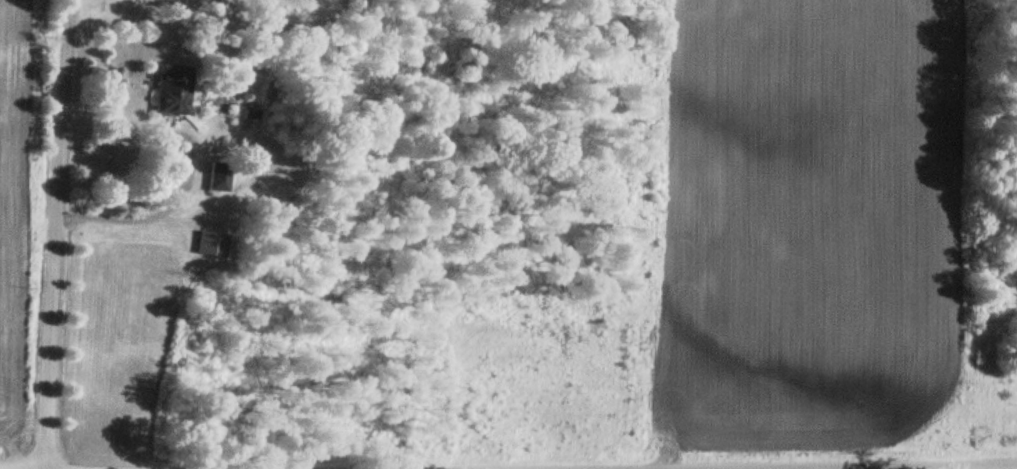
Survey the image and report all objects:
building: (169, 90)
road: (183, 149)
building: (214, 178)
building: (0, 214)
road: (131, 217)
road: (49, 234)
building: (206, 244)
road: (833, 465)

